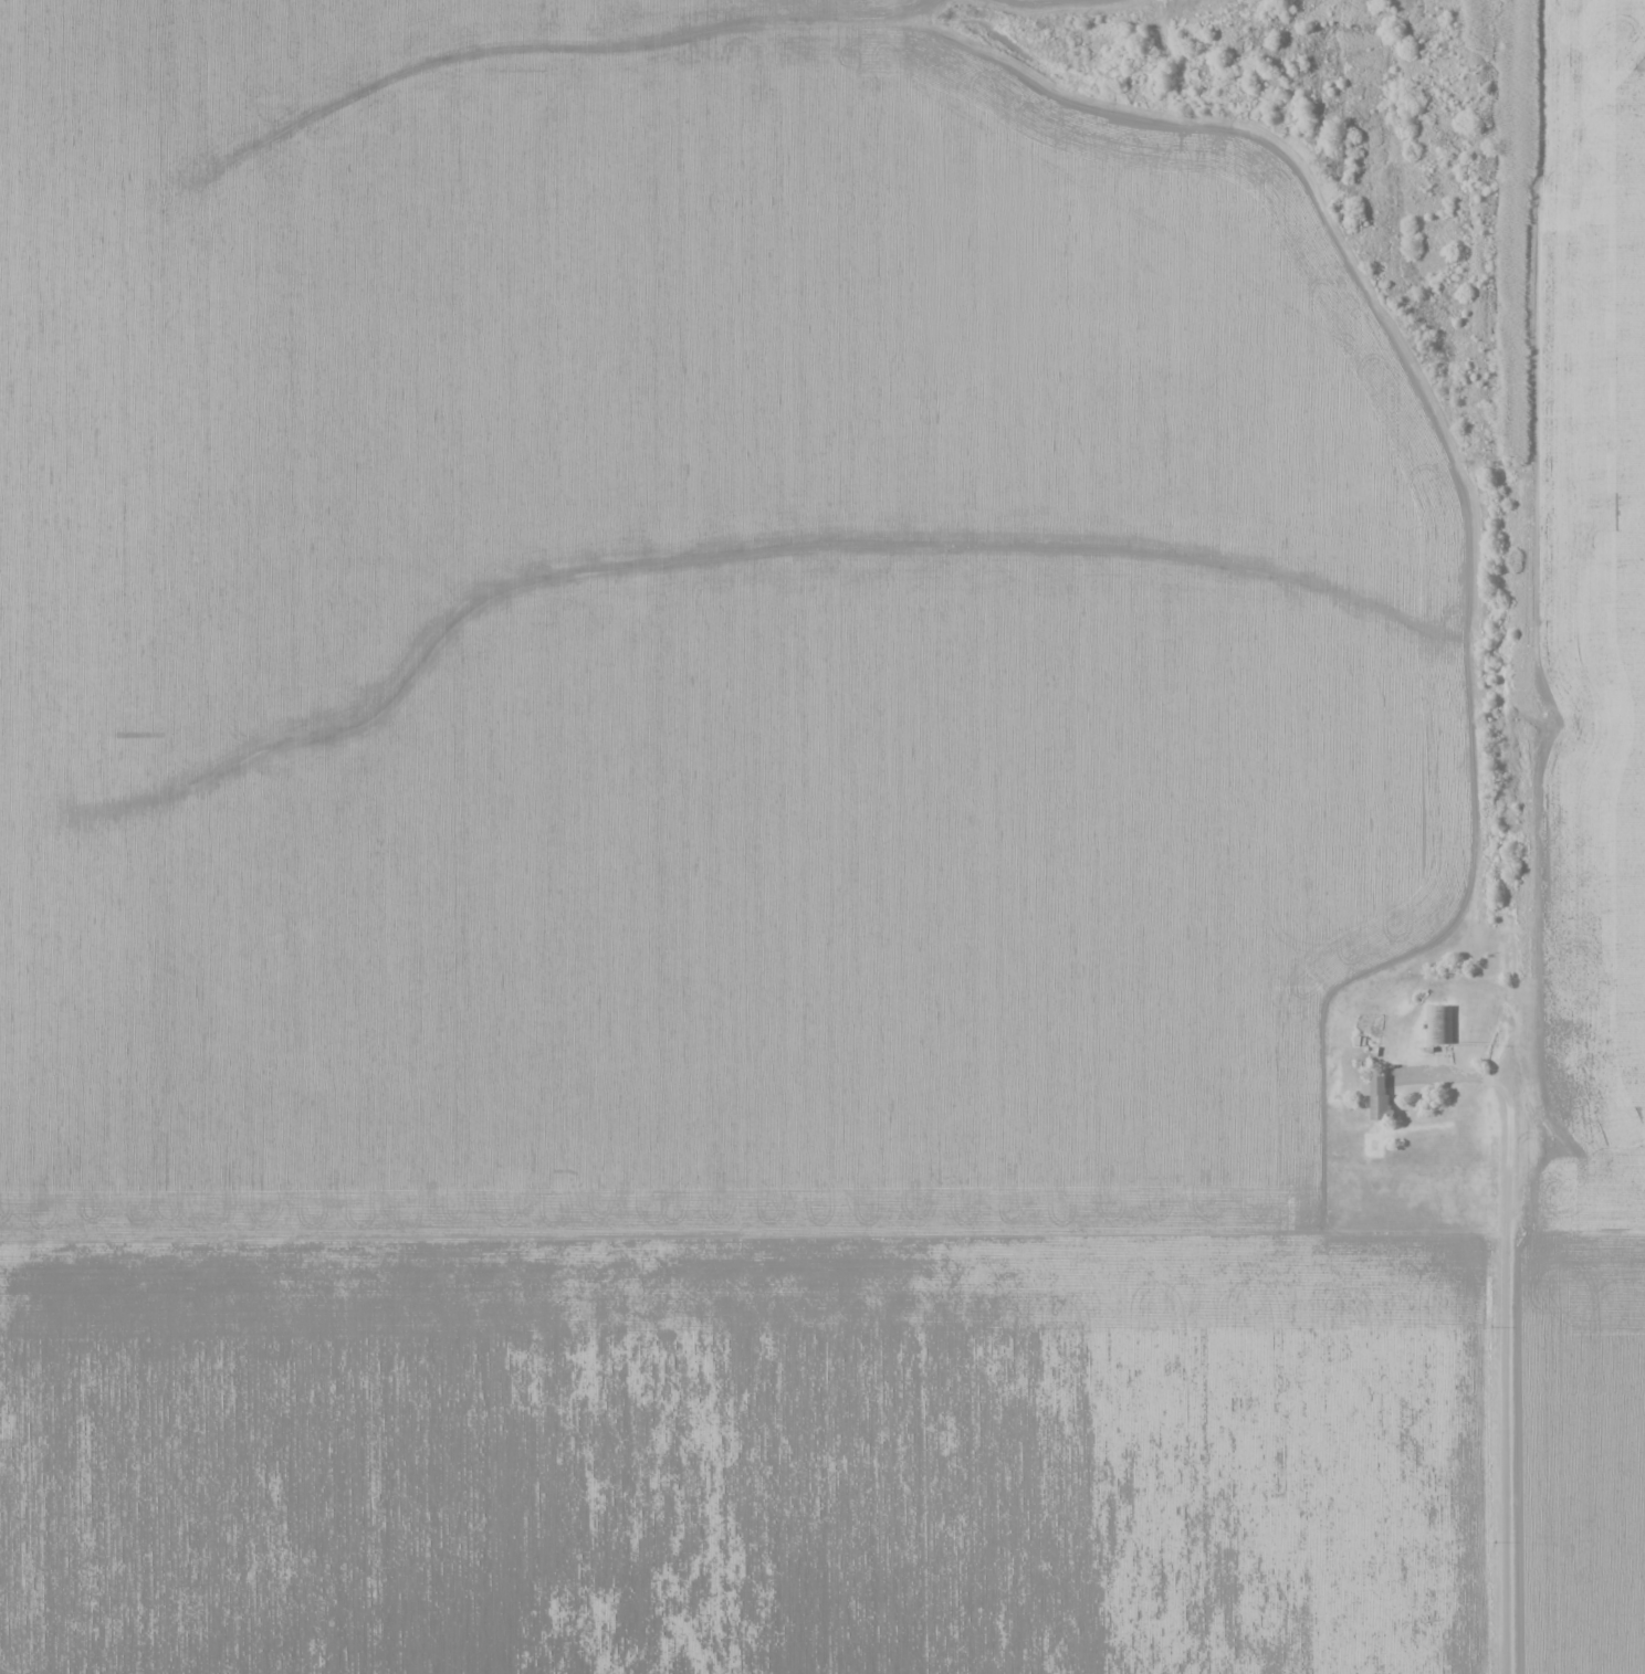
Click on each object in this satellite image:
building: (1438, 1023)
building: (1382, 1096)
road: (1533, 1304)

